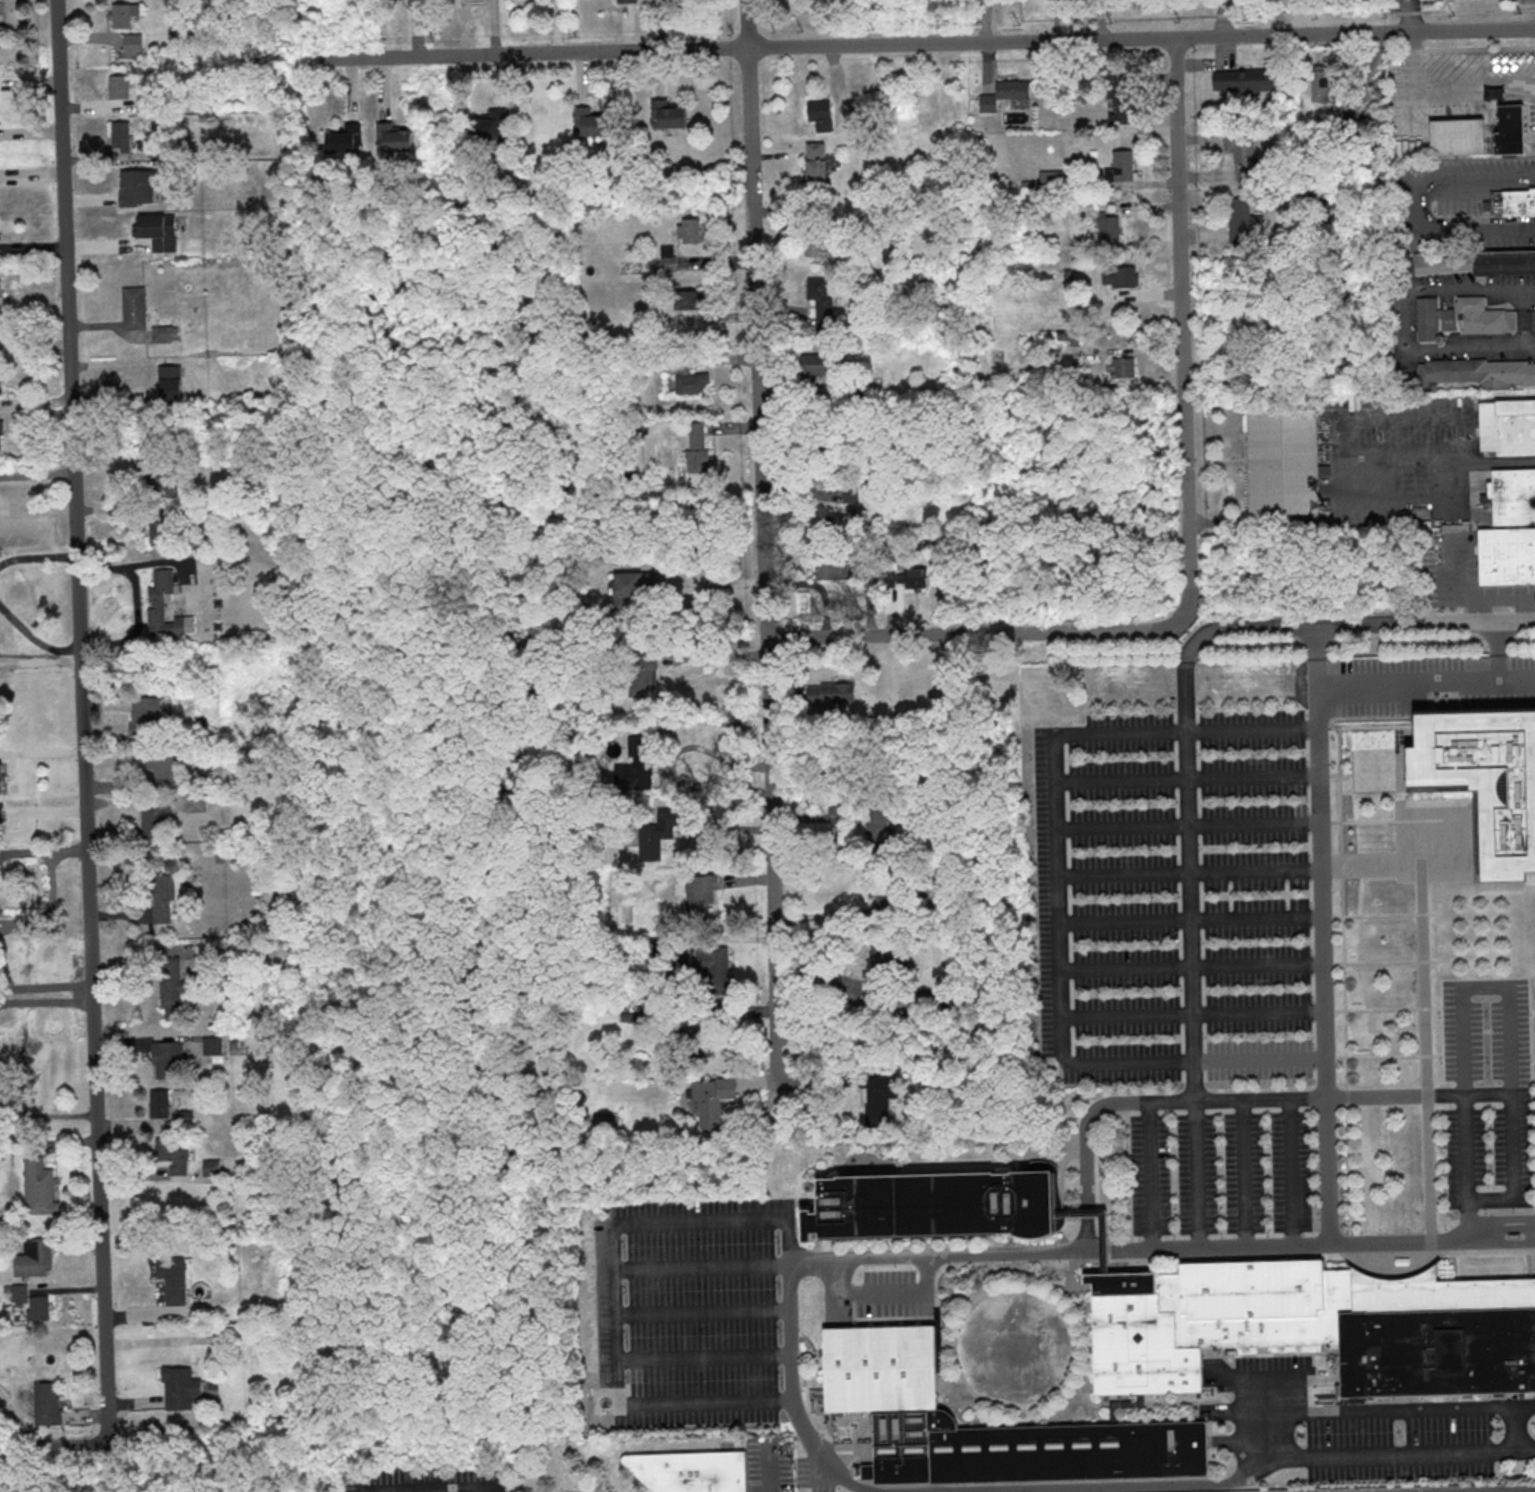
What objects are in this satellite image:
building: (414, 1)
building: (625, 1)
building: (120, 14)
road: (1410, 14)
road: (1223, 17)
building: (0, 30)
road: (939, 42)
building: (132, 44)
building: (1245, 79)
building: (1321, 85)
building: (119, 86)
building: (1005, 95)
building: (1121, 99)
building: (668, 114)
building: (822, 117)
building: (592, 123)
building: (491, 125)
building: (1510, 128)
building: (120, 136)
building: (1458, 136)
building: (394, 137)
building: (346, 138)
building: (1242, 150)
building: (1122, 166)
building: (815, 167)
building: (1052, 179)
building: (140, 186)
building: (1519, 200)
road: (1416, 209)
building: (1244, 219)
building: (689, 229)
building: (1109, 229)
building: (158, 230)
building: (817, 247)
building: (668, 257)
building: (1477, 262)
building: (1120, 276)
building: (0, 288)
building: (688, 299)
building: (819, 303)
building: (132, 308)
building: (1470, 317)
road: (1403, 318)
road: (1183, 321)
building: (165, 333)
building: (1121, 366)
building: (816, 367)
building: (1476, 373)
building: (691, 379)
building: (170, 381)
building: (1508, 426)
building: (1, 435)
building: (696, 449)
road: (1456, 457)
building: (1284, 460)
building: (163, 475)
building: (989, 489)
building: (851, 493)
building: (843, 521)
road: (1248, 521)
building: (159, 527)
building: (1510, 529)
road: (764, 548)
road: (38, 556)
building: (1009, 567)
building: (831, 569)
building: (904, 575)
building: (635, 583)
building: (166, 605)
road: (1353, 624)
road: (982, 632)
road: (36, 636)
road: (1495, 649)
road: (716, 654)
road: (1313, 654)
building: (642, 672)
road: (1424, 680)
building: (831, 691)
building: (145, 715)
road: (84, 722)
road: (42, 751)
building: (159, 764)
building: (634, 773)
building: (1485, 777)
building: (2, 778)
road: (1186, 778)
building: (197, 803)
building: (2, 816)
building: (156, 820)
road: (1188, 824)
building: (878, 831)
building: (654, 834)
road: (1191, 878)
building: (701, 894)
building: (165, 895)
building: (883, 895)
road: (1056, 900)
road: (1190, 919)
building: (883, 955)
road: (1324, 964)
building: (709, 966)
road: (1191, 966)
building: (172, 987)
road: (46, 989)
road: (1193, 1014)
building: (696, 1025)
building: (616, 1036)
road: (1509, 1043)
building: (213, 1045)
building: (168, 1059)
road: (1488, 1094)
road: (1306, 1097)
building: (712, 1101)
building: (878, 1102)
building: (160, 1103)
road: (47, 1114)
building: (185, 1118)
building: (608, 1120)
building: (172, 1154)
building: (211, 1166)
road: (1150, 1175)
building: (38, 1186)
building: (941, 1204)
road: (1090, 1218)
road: (1091, 1242)
road: (1330, 1246)
road: (1113, 1251)
building: (35, 1257)
road: (814, 1259)
road: (699, 1264)
road: (610, 1267)
building: (175, 1283)
road: (881, 1291)
building: (34, 1303)
road: (700, 1310)
building: (1315, 1326)
building: (878, 1365)
building: (178, 1385)
road: (681, 1399)
building: (46, 1403)
road: (1396, 1411)
road: (54, 1446)
road: (1397, 1457)
road: (769, 1467)
building: (689, 1470)
road: (1146, 1487)
road: (433, 1488)
road: (1477, 1489)
road: (567, 1490)

